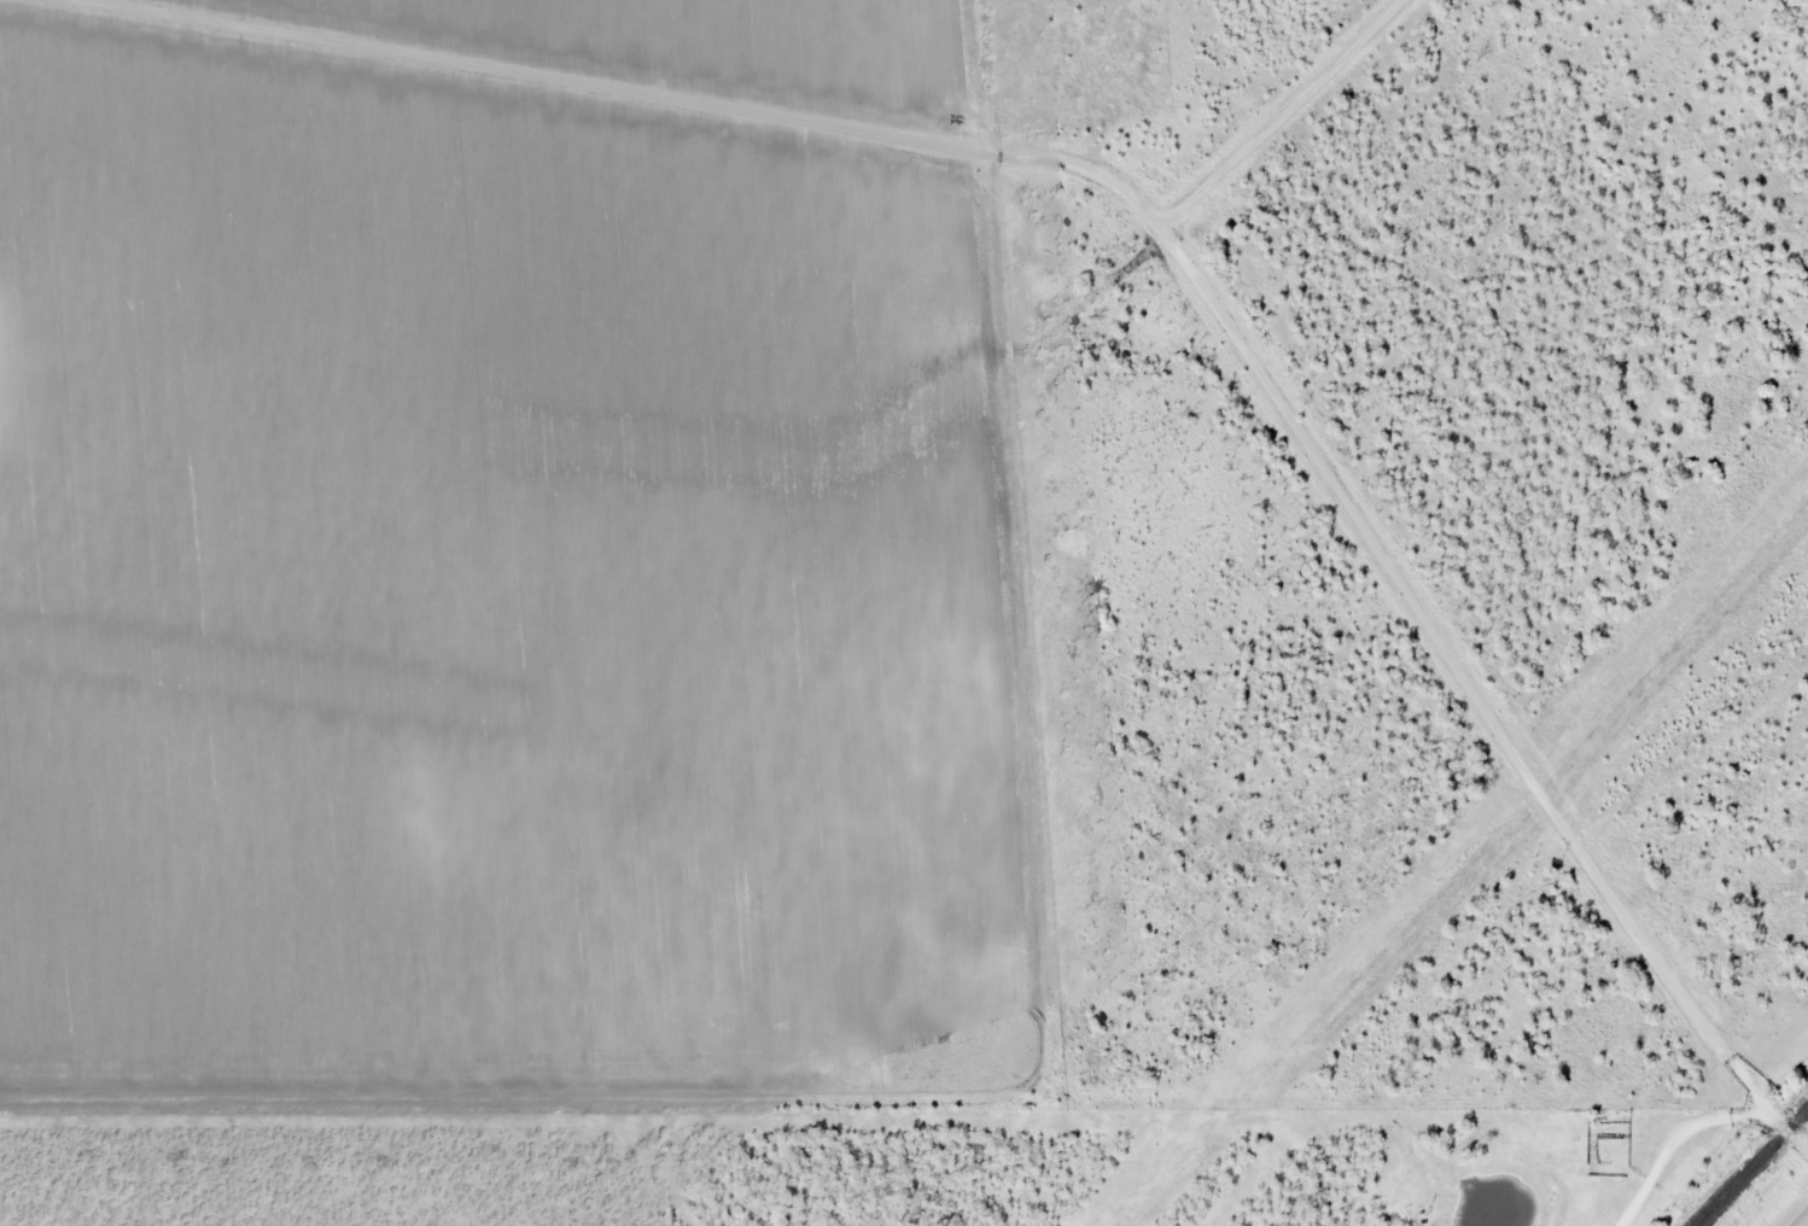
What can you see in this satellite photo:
road: (1168, 256)
road: (1676, 1139)
railway: (1752, 1167)
road: (1802, 1220)

